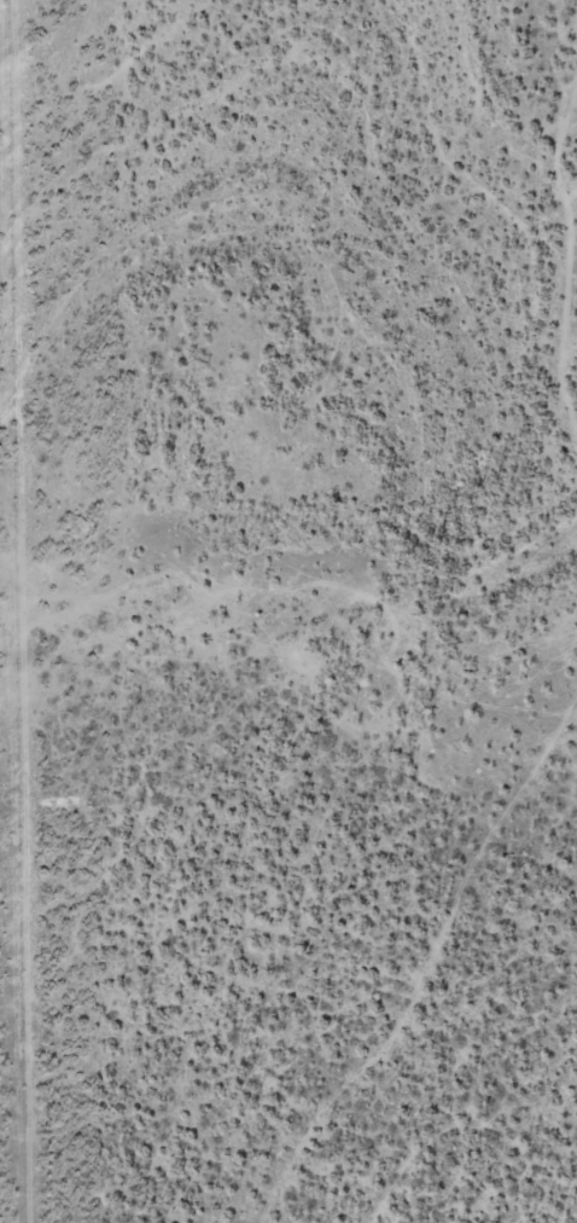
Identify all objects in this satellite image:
road: (570, 225)
road: (412, 940)

